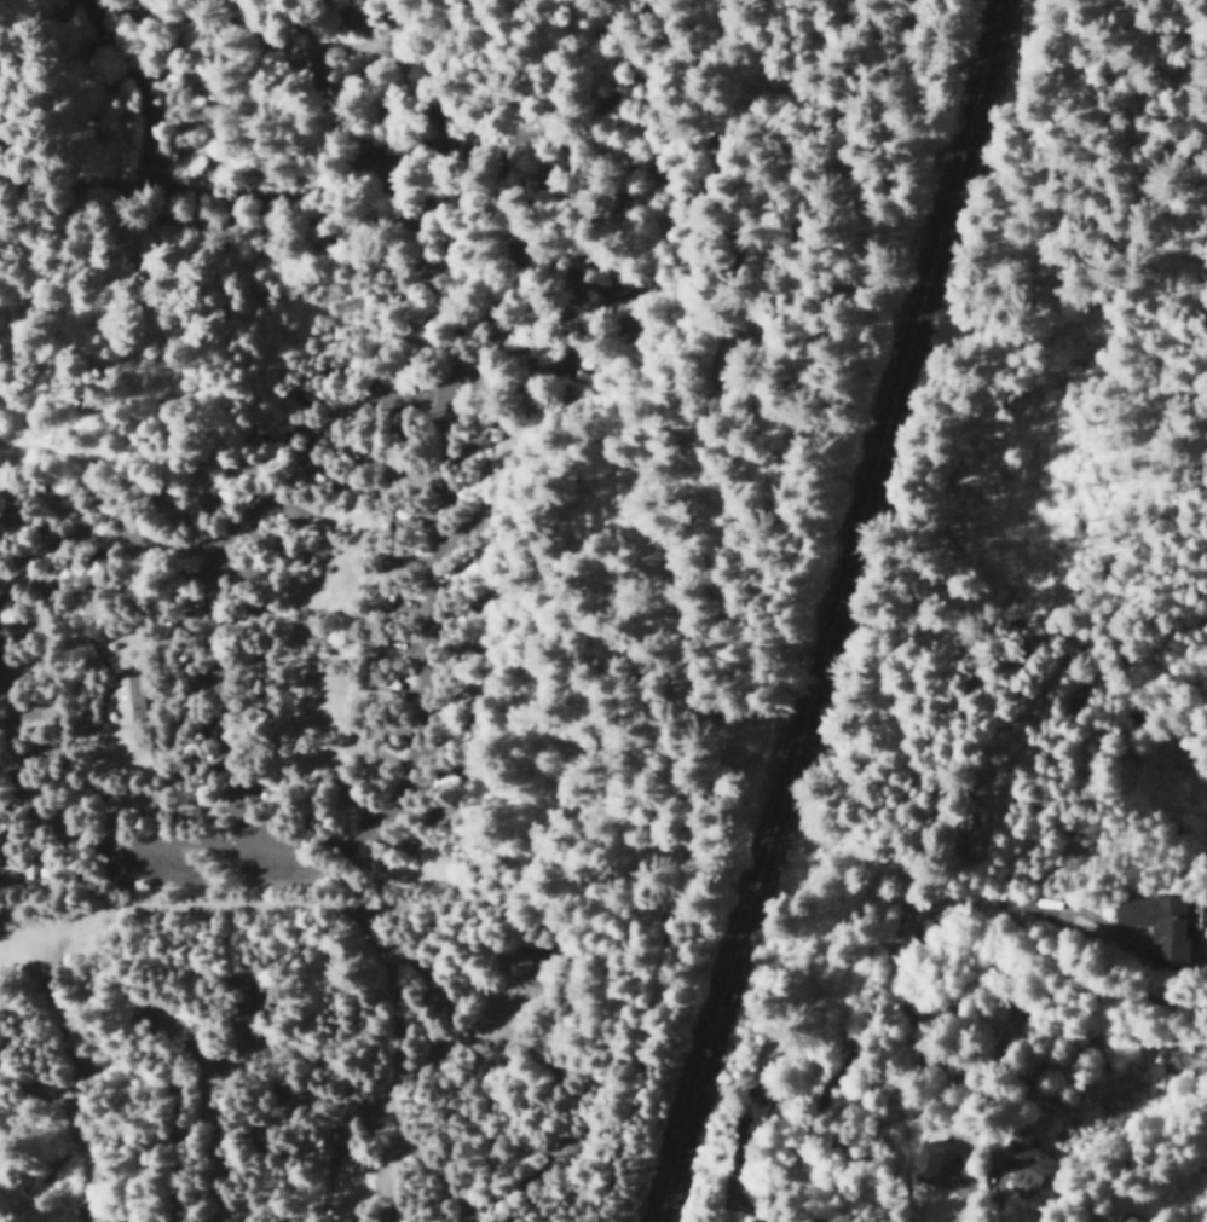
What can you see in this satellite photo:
road: (347, 36)
road: (148, 124)
road: (370, 184)
road: (611, 193)
road: (172, 230)
road: (236, 512)
road: (813, 609)
building: (126, 699)
road: (208, 700)
building: (445, 735)
road: (420, 766)
road: (37, 795)
parking lot: (223, 863)
building: (1156, 926)
building: (1020, 1159)
building: (922, 1162)
building: (1128, 1218)

